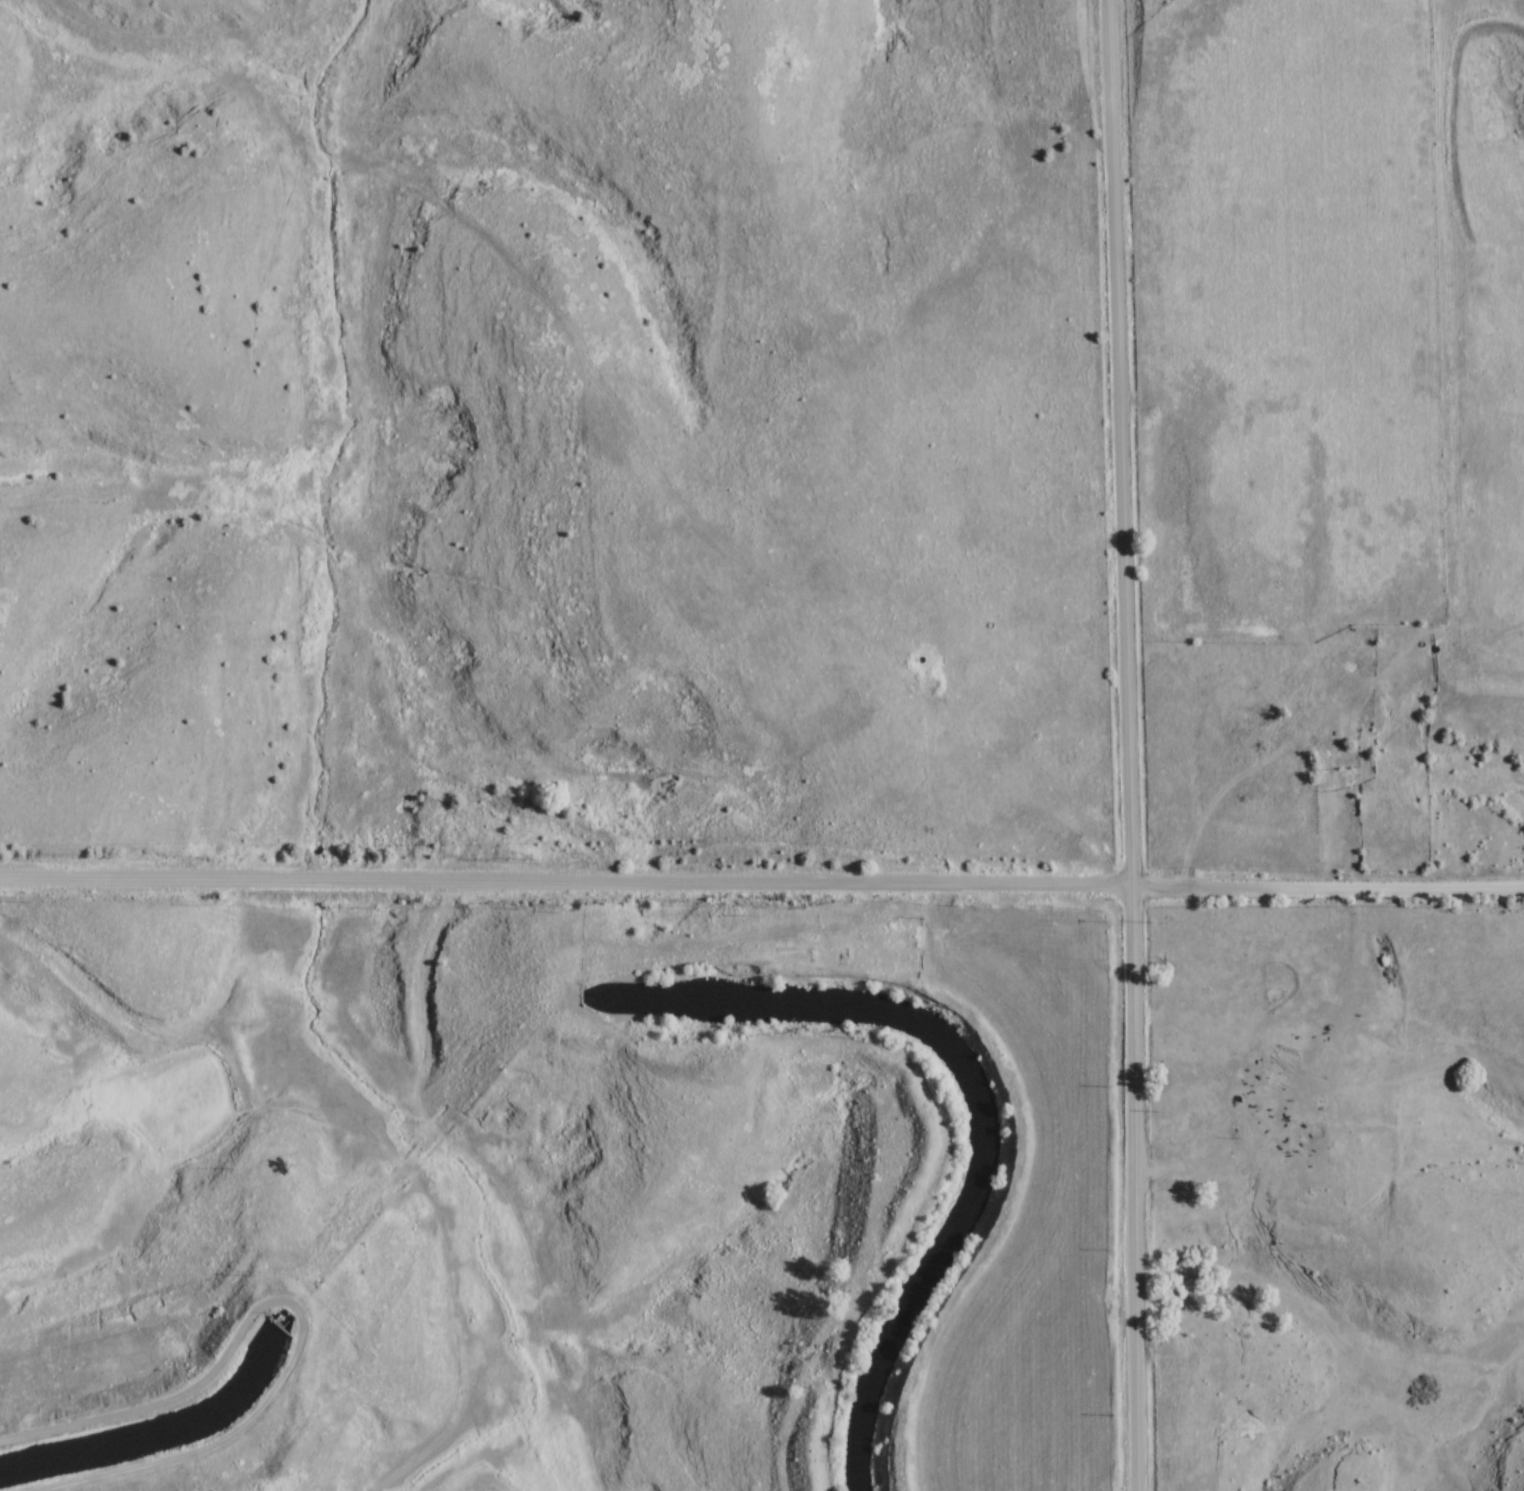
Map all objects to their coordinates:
road: (1128, 745)
road: (761, 884)
road: (287, 1305)

